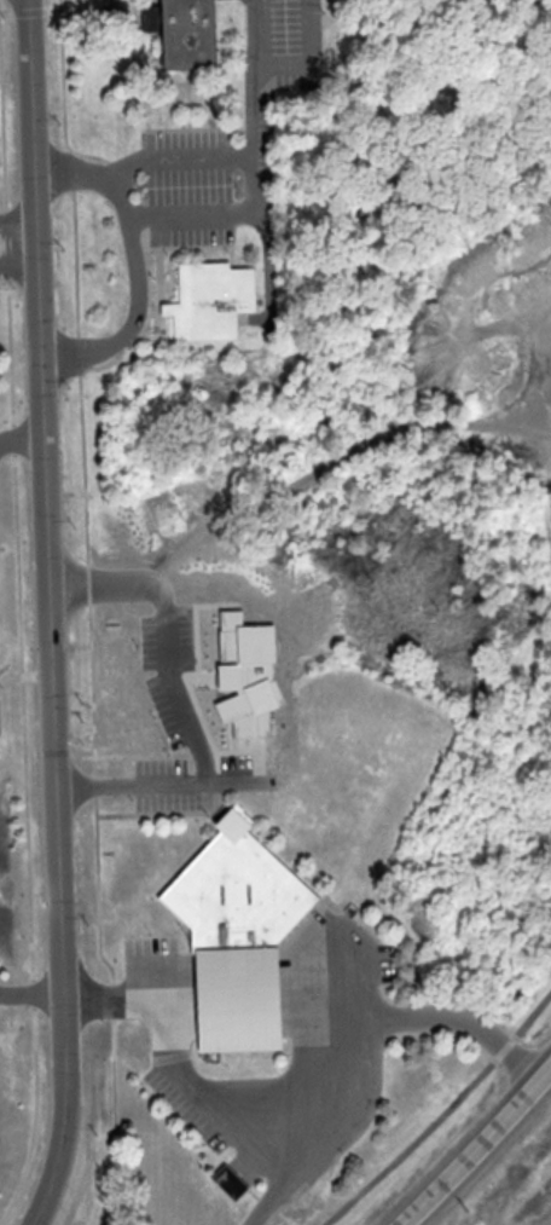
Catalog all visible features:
building: (198, 35)
road: (215, 155)
road: (227, 212)
road: (18, 219)
road: (19, 261)
road: (139, 299)
building: (215, 300)
road: (23, 438)
road: (108, 582)
road: (50, 614)
road: (161, 786)
building: (244, 934)
road: (31, 995)
road: (376, 1023)
road: (198, 1097)
road: (442, 1111)
road: (475, 1145)
building: (234, 1183)

